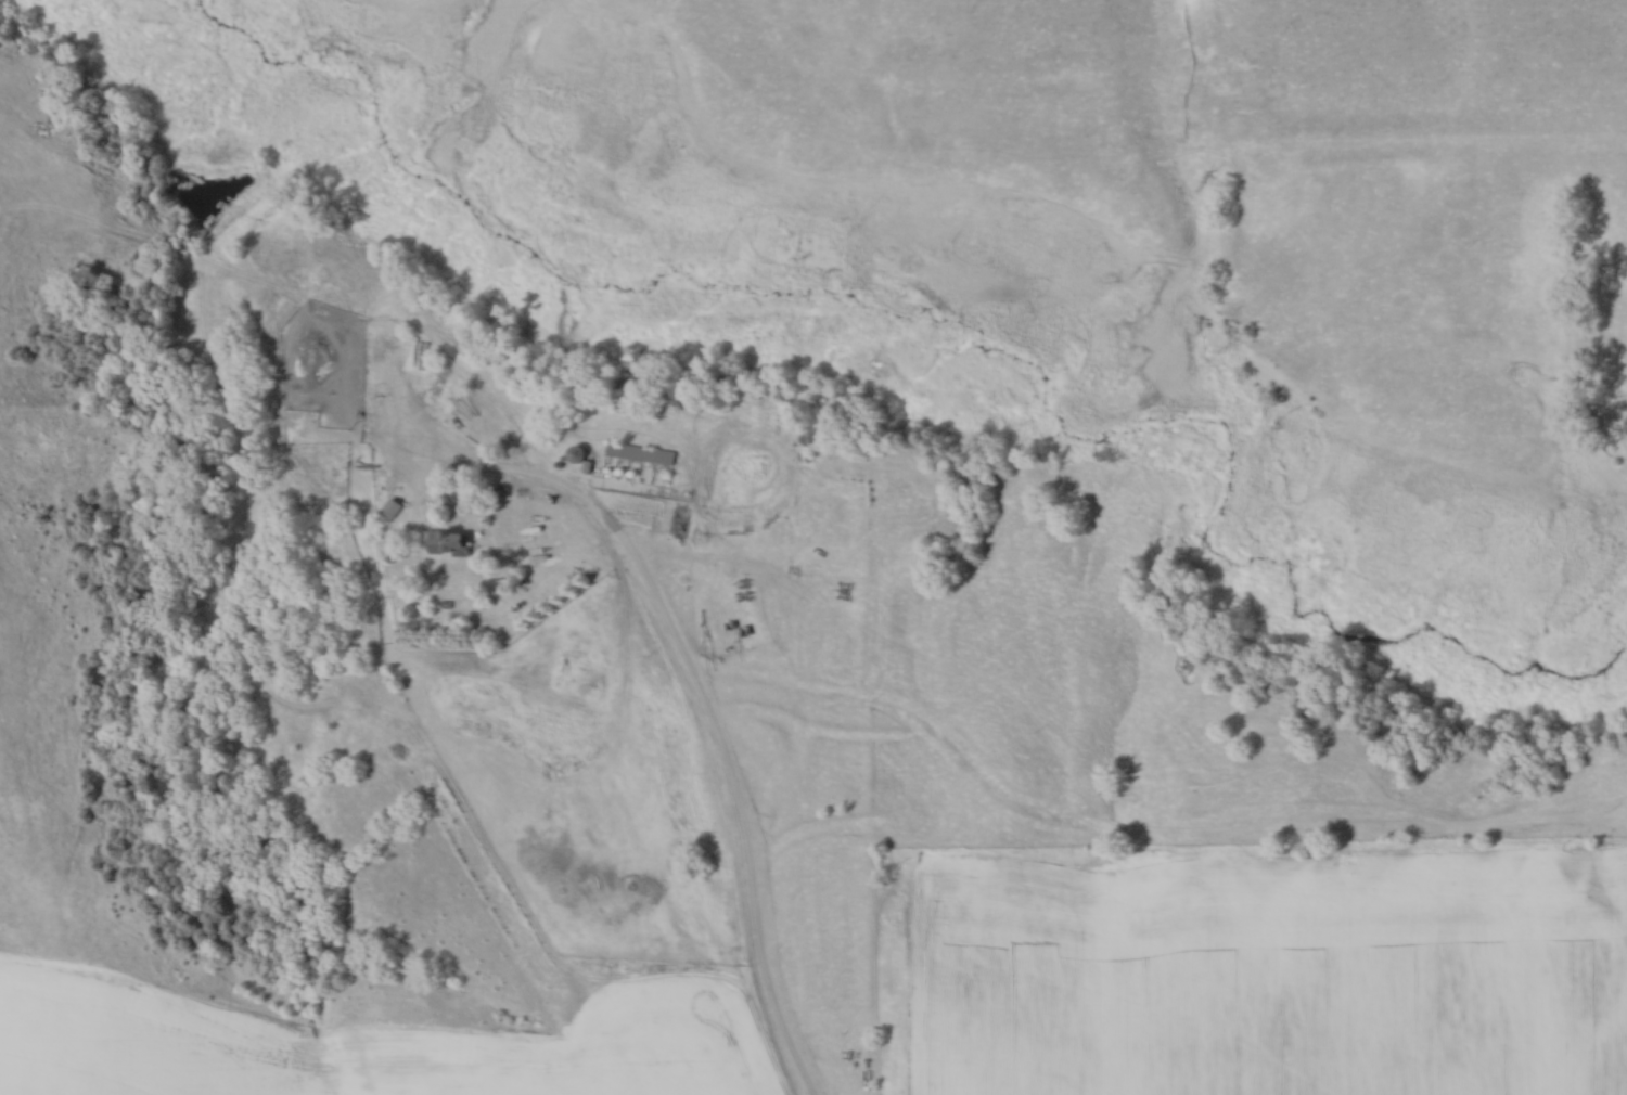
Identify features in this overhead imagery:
building: (637, 452)
building: (572, 453)
building: (388, 508)
building: (444, 542)
road: (708, 713)

